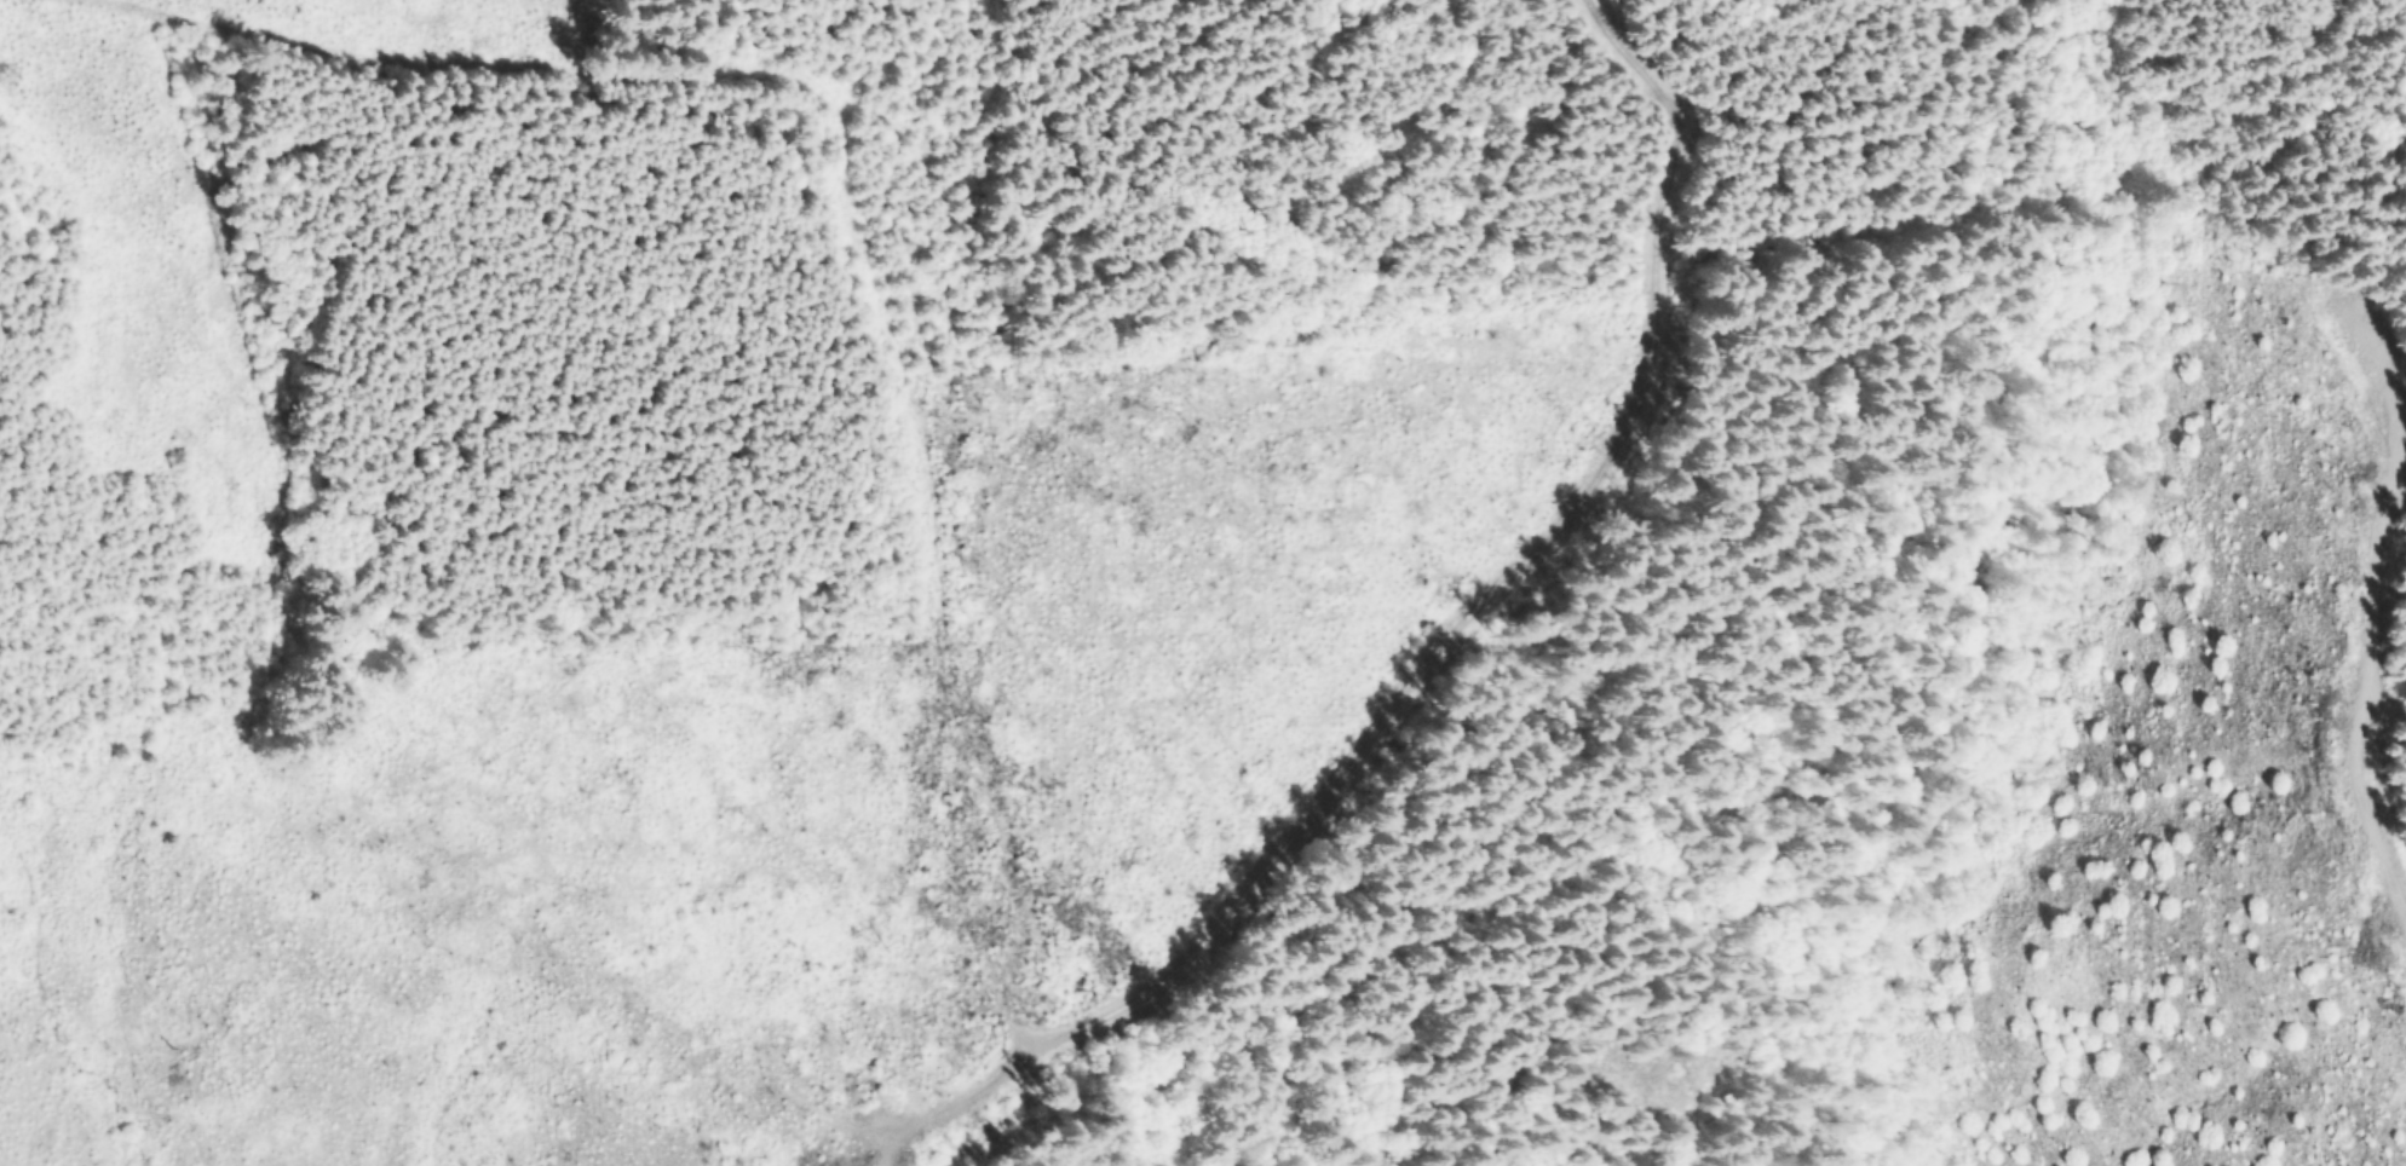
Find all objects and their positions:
road: (568, 69)
road: (1417, 674)

